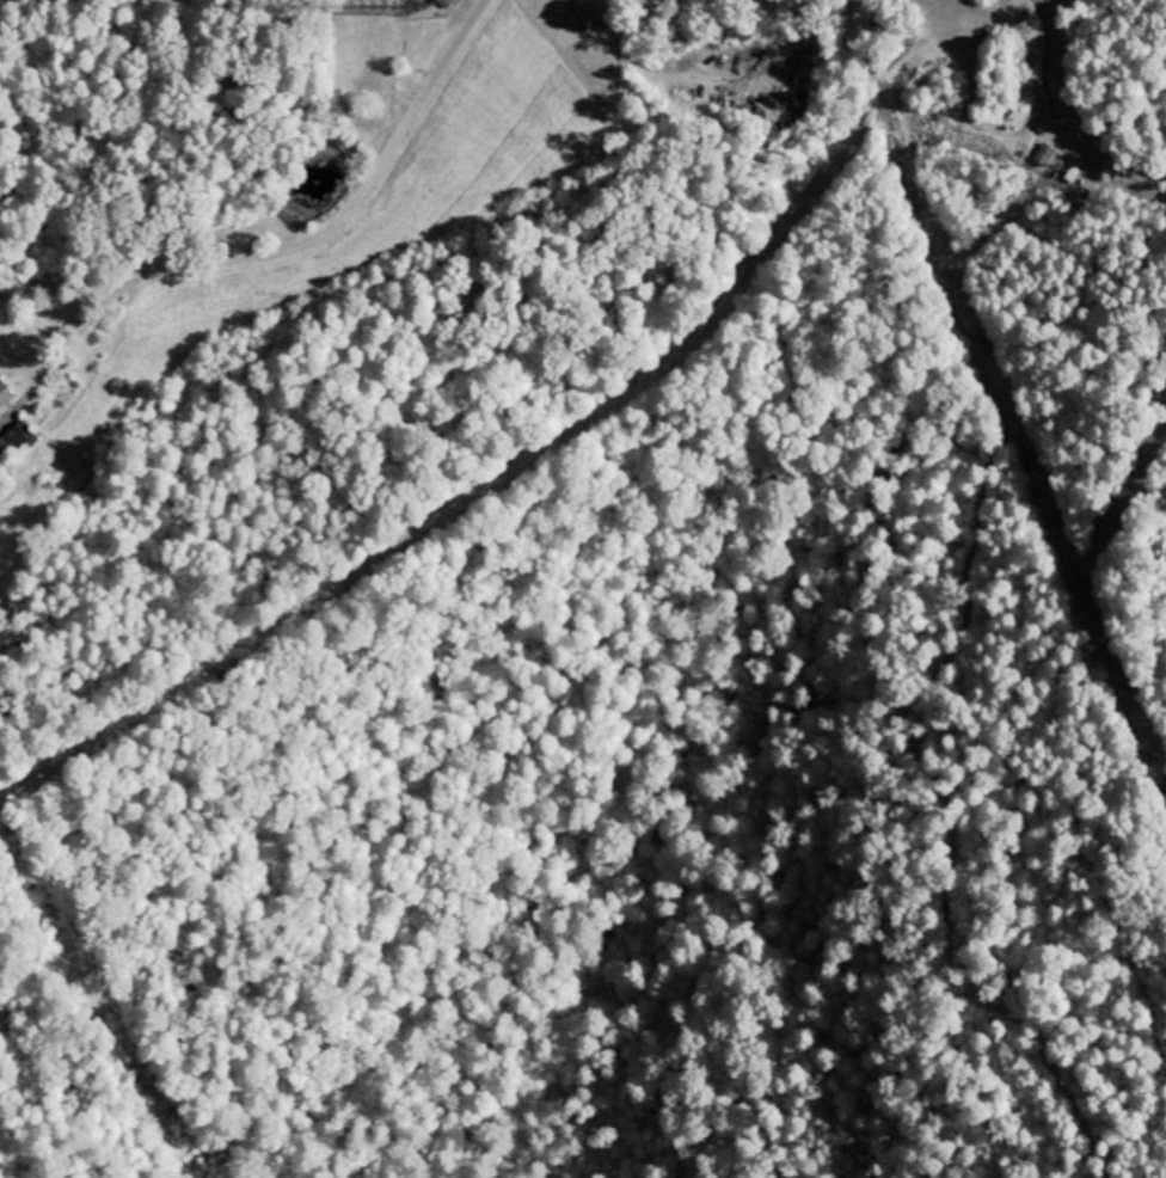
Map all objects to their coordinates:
road: (1064, 117)
building: (1045, 157)
building: (5, 399)
building: (24, 438)

